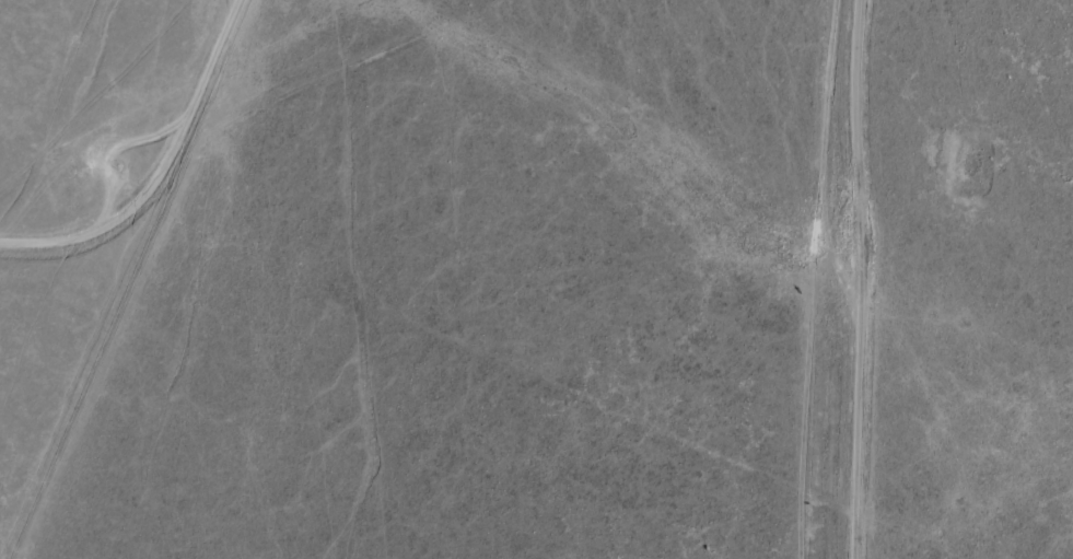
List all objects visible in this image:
road: (205, 115)
road: (813, 279)

